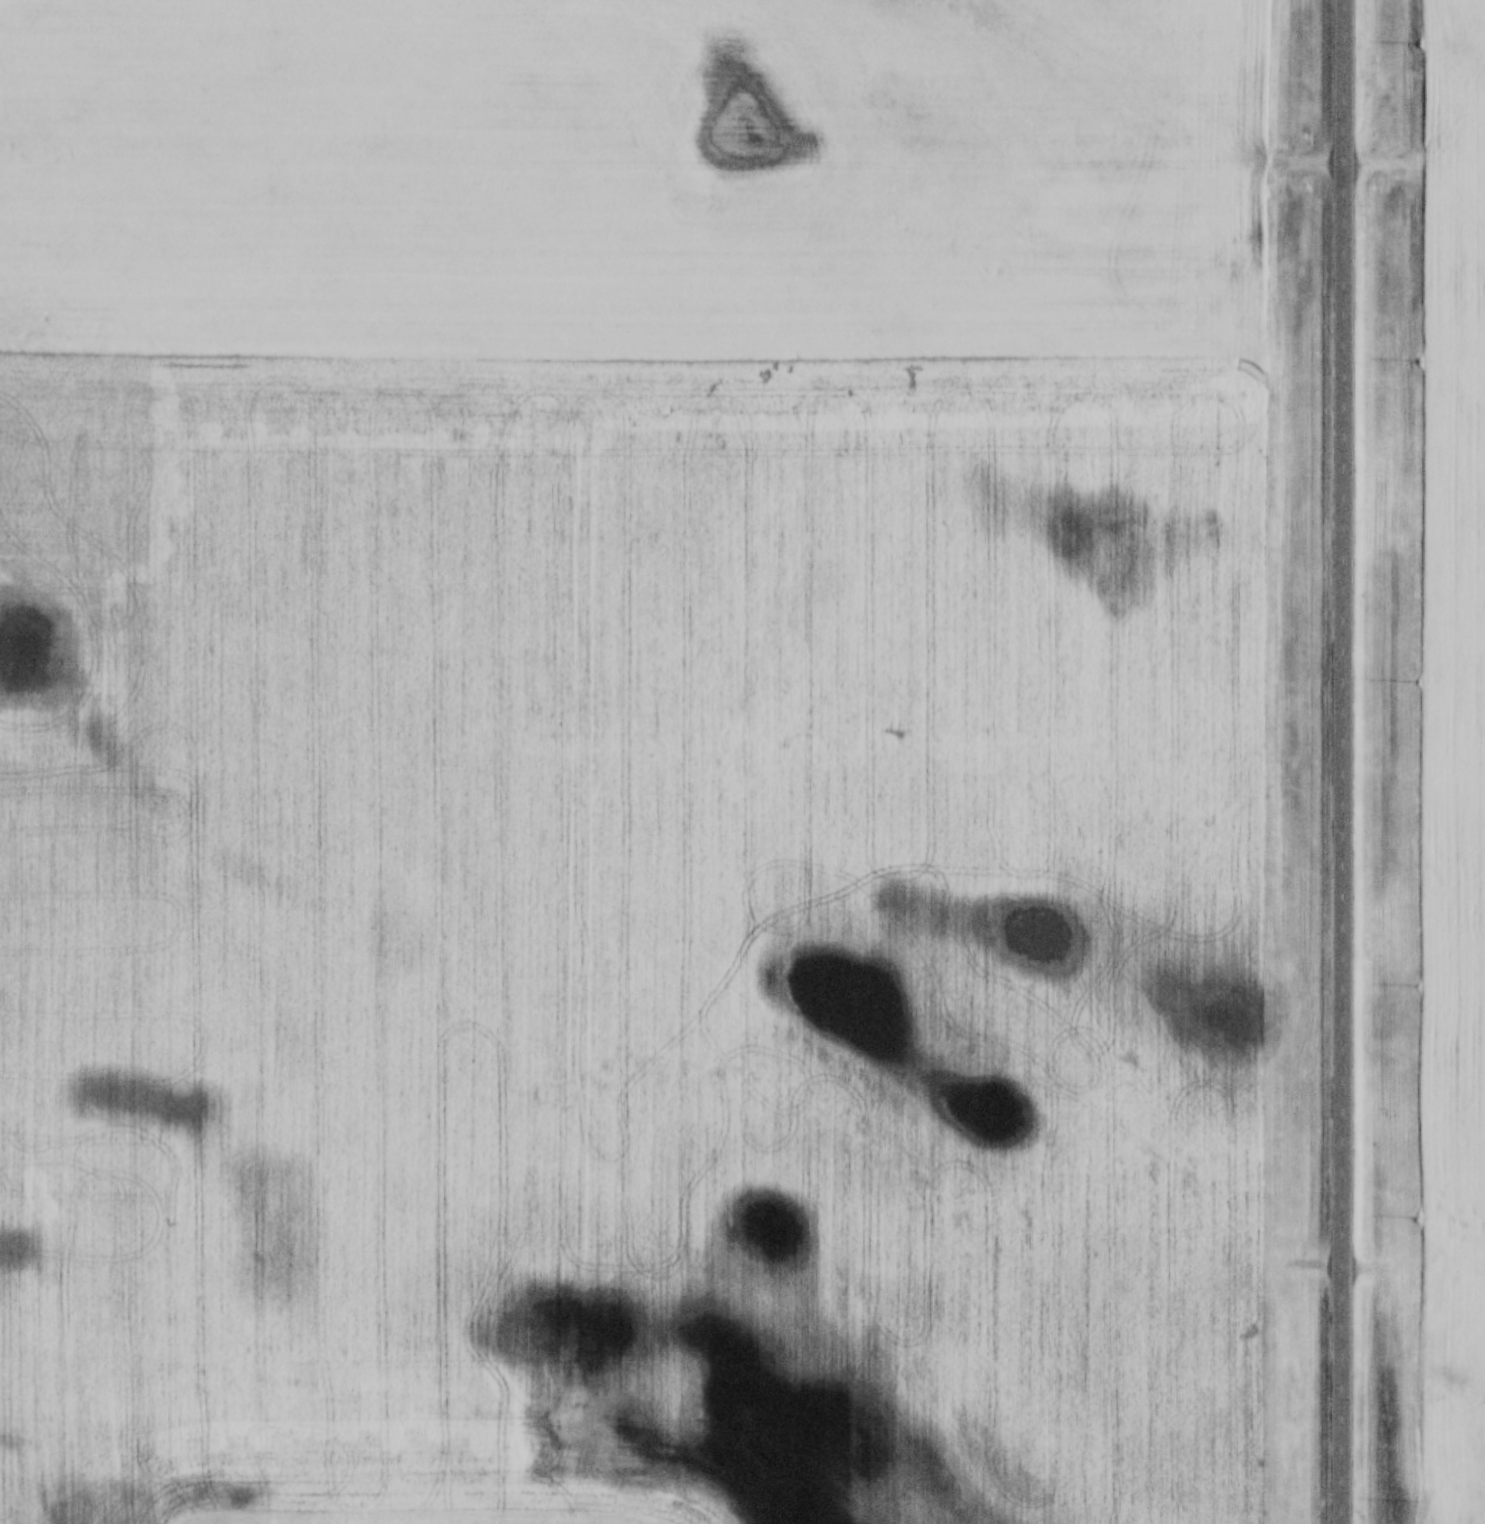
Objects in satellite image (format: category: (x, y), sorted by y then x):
road: (1343, 762)

